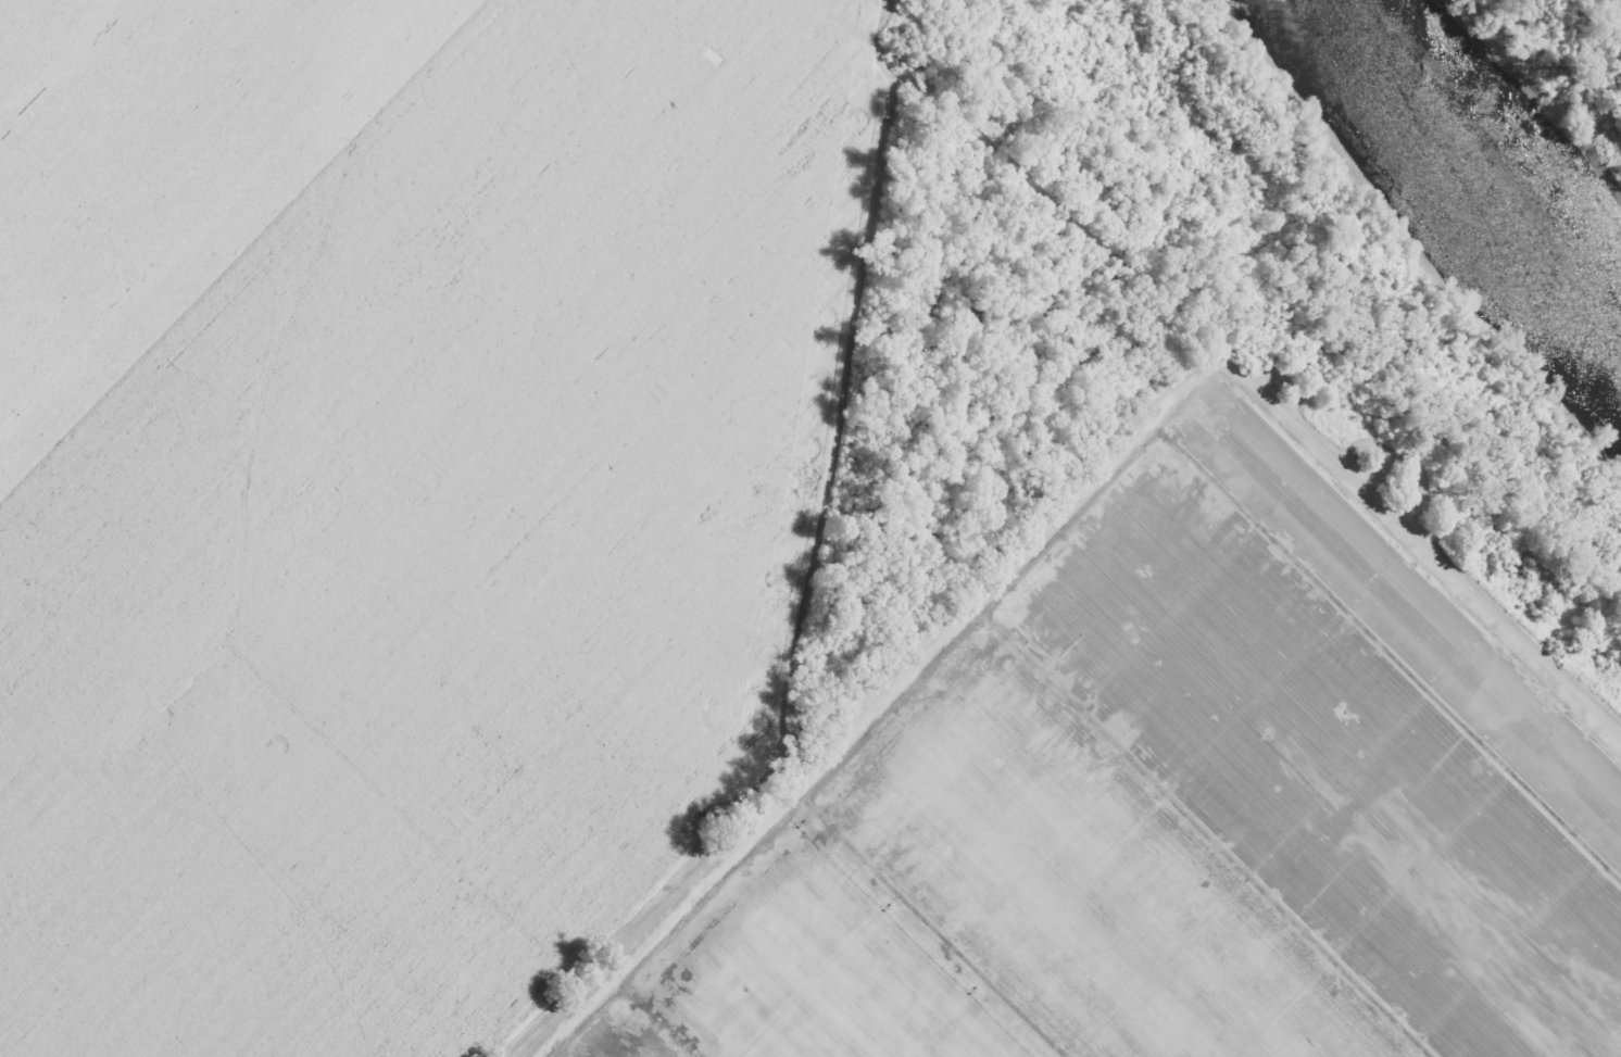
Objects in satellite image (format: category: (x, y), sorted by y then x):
river: (1493, 129)

